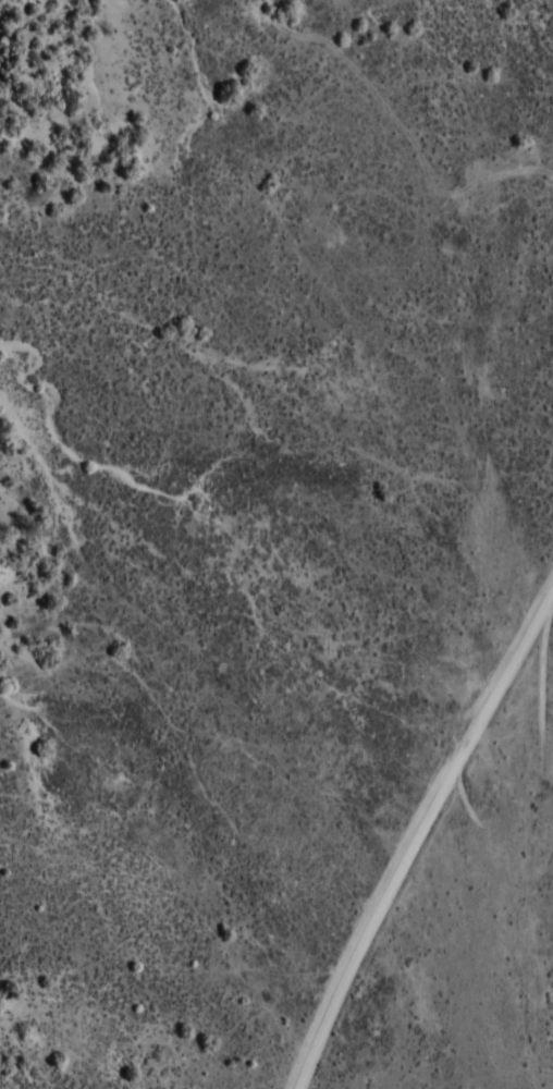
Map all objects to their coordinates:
road: (439, 876)
road: (362, 1070)

